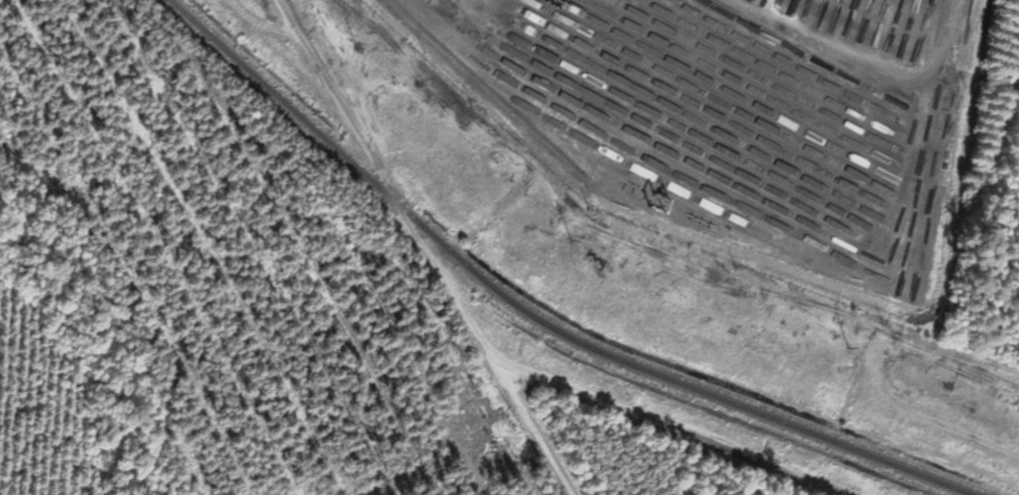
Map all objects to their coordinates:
road: (873, 69)
road: (435, 249)
railway: (534, 314)
road: (714, 431)

